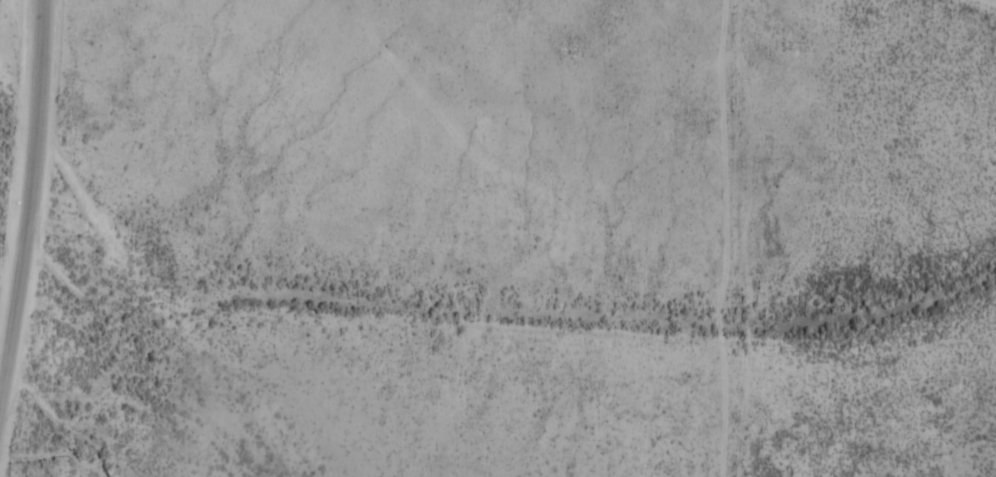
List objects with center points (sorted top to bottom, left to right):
road: (26, 194)

